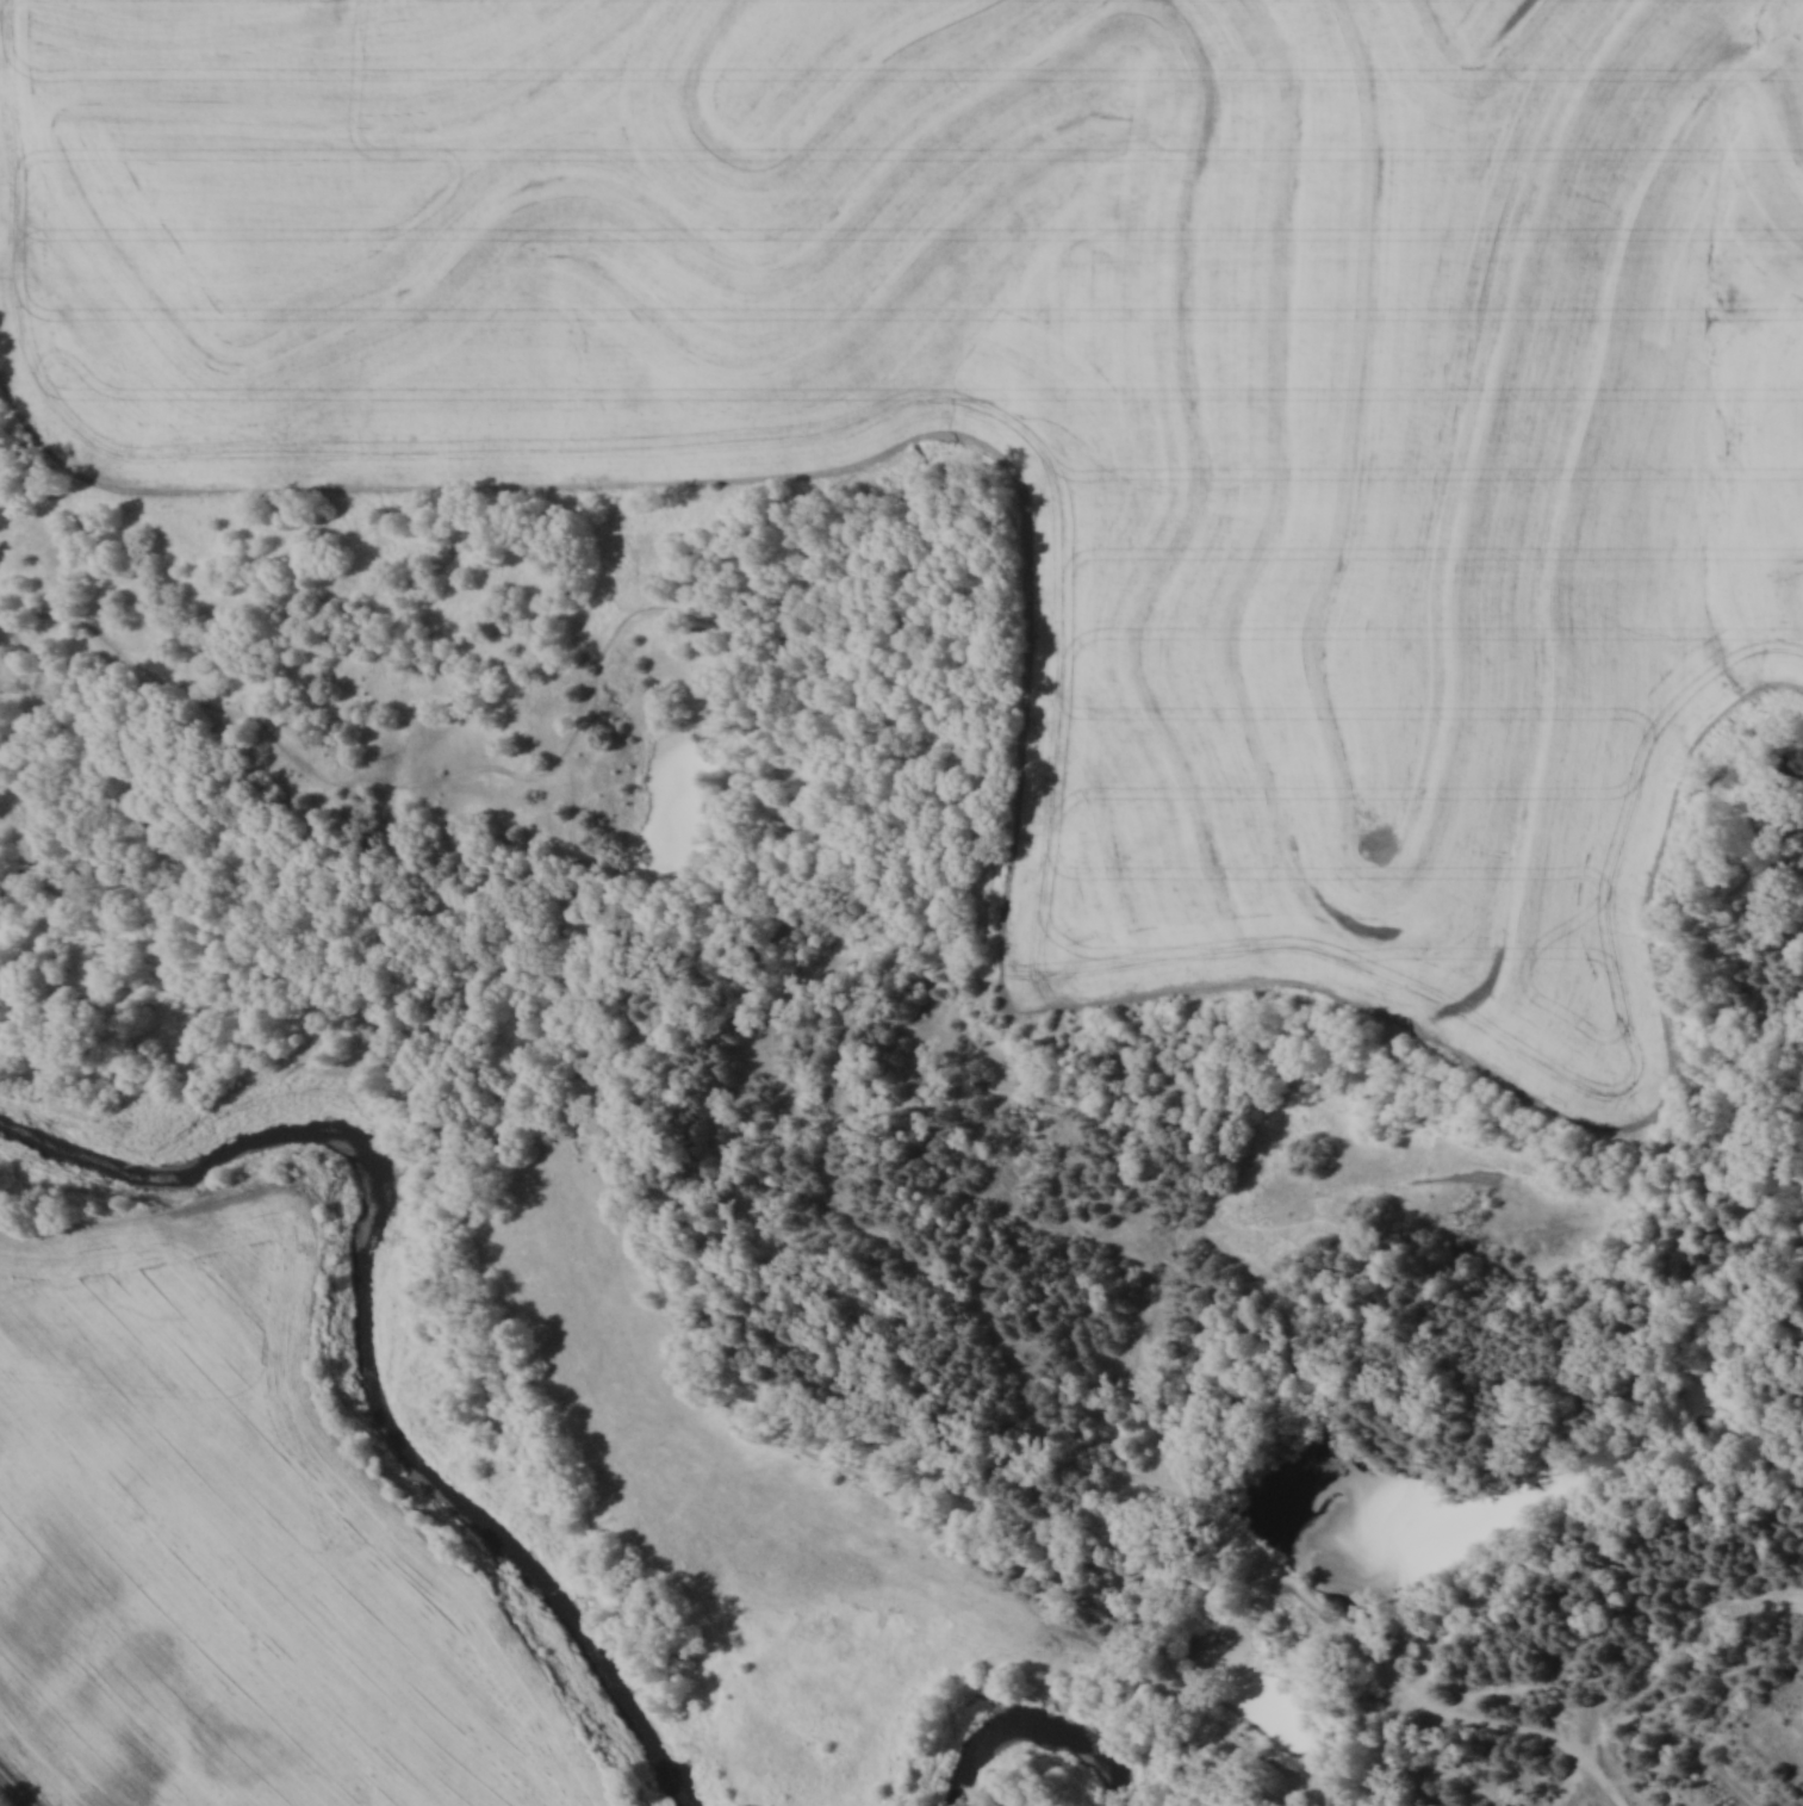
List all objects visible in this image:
road: (828, 1136)
river: (361, 1326)
road: (1175, 1475)
river: (1036, 1711)
railway: (14, 1791)

